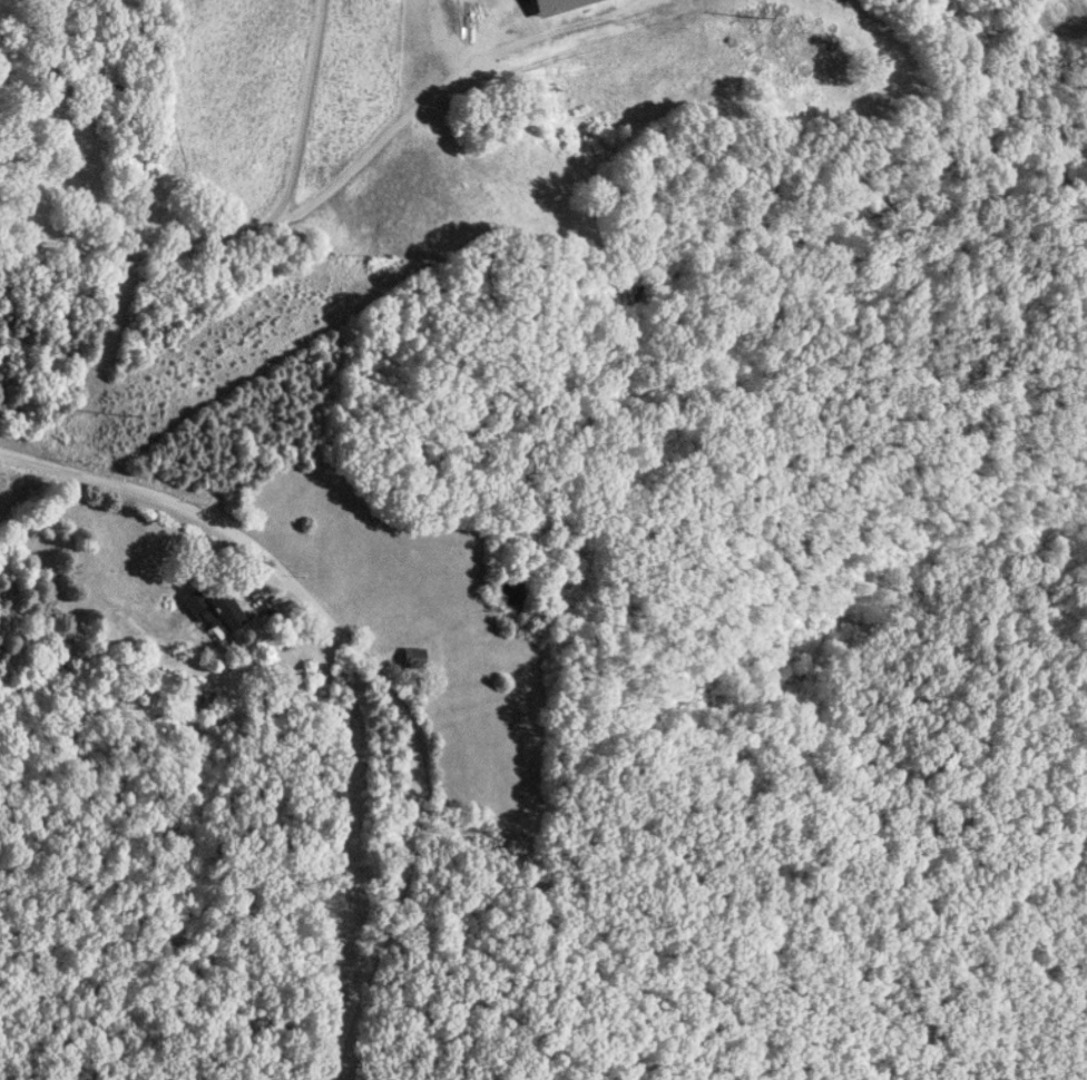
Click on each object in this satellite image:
road: (247, 229)
building: (215, 613)
building: (413, 657)
road: (369, 665)

